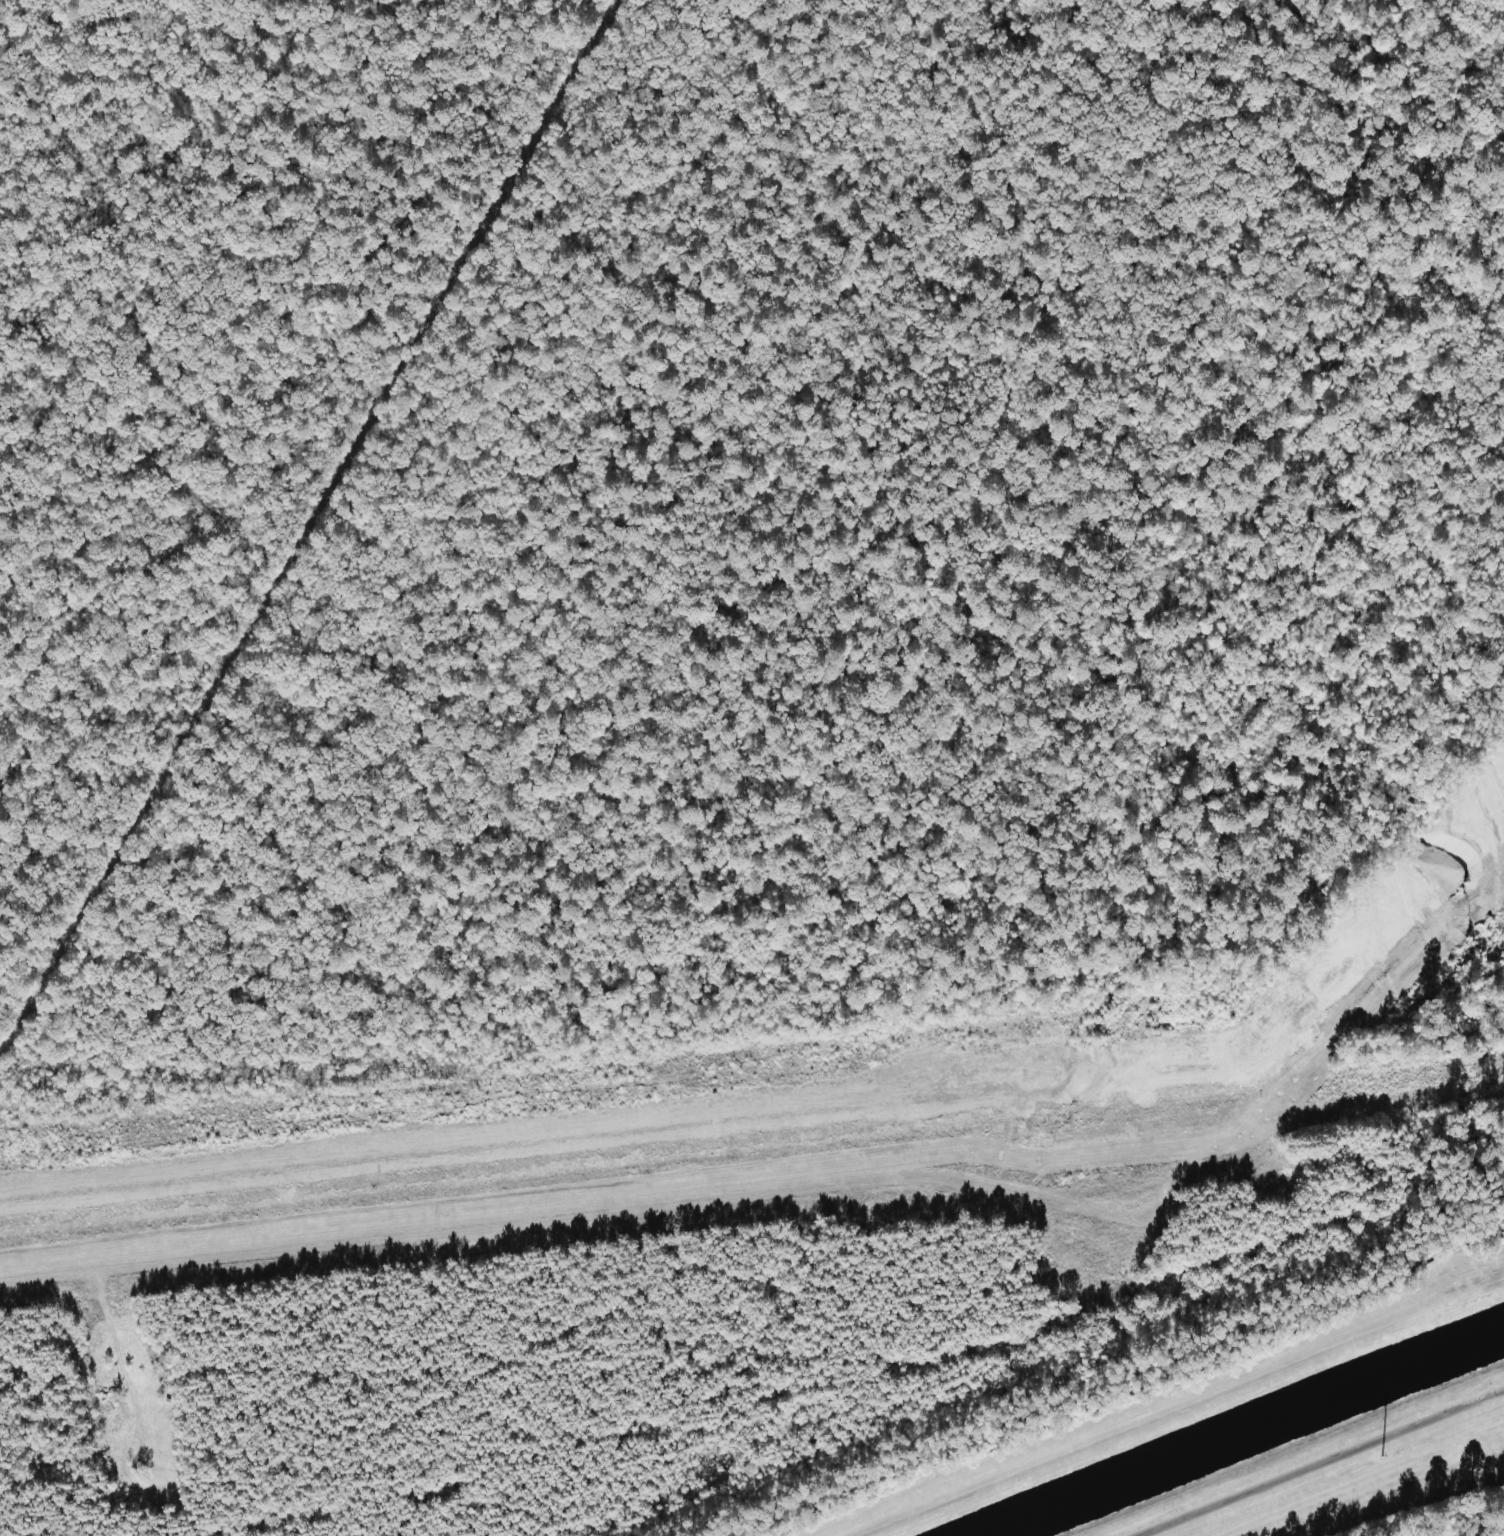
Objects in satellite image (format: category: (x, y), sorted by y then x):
road: (1317, 1461)

